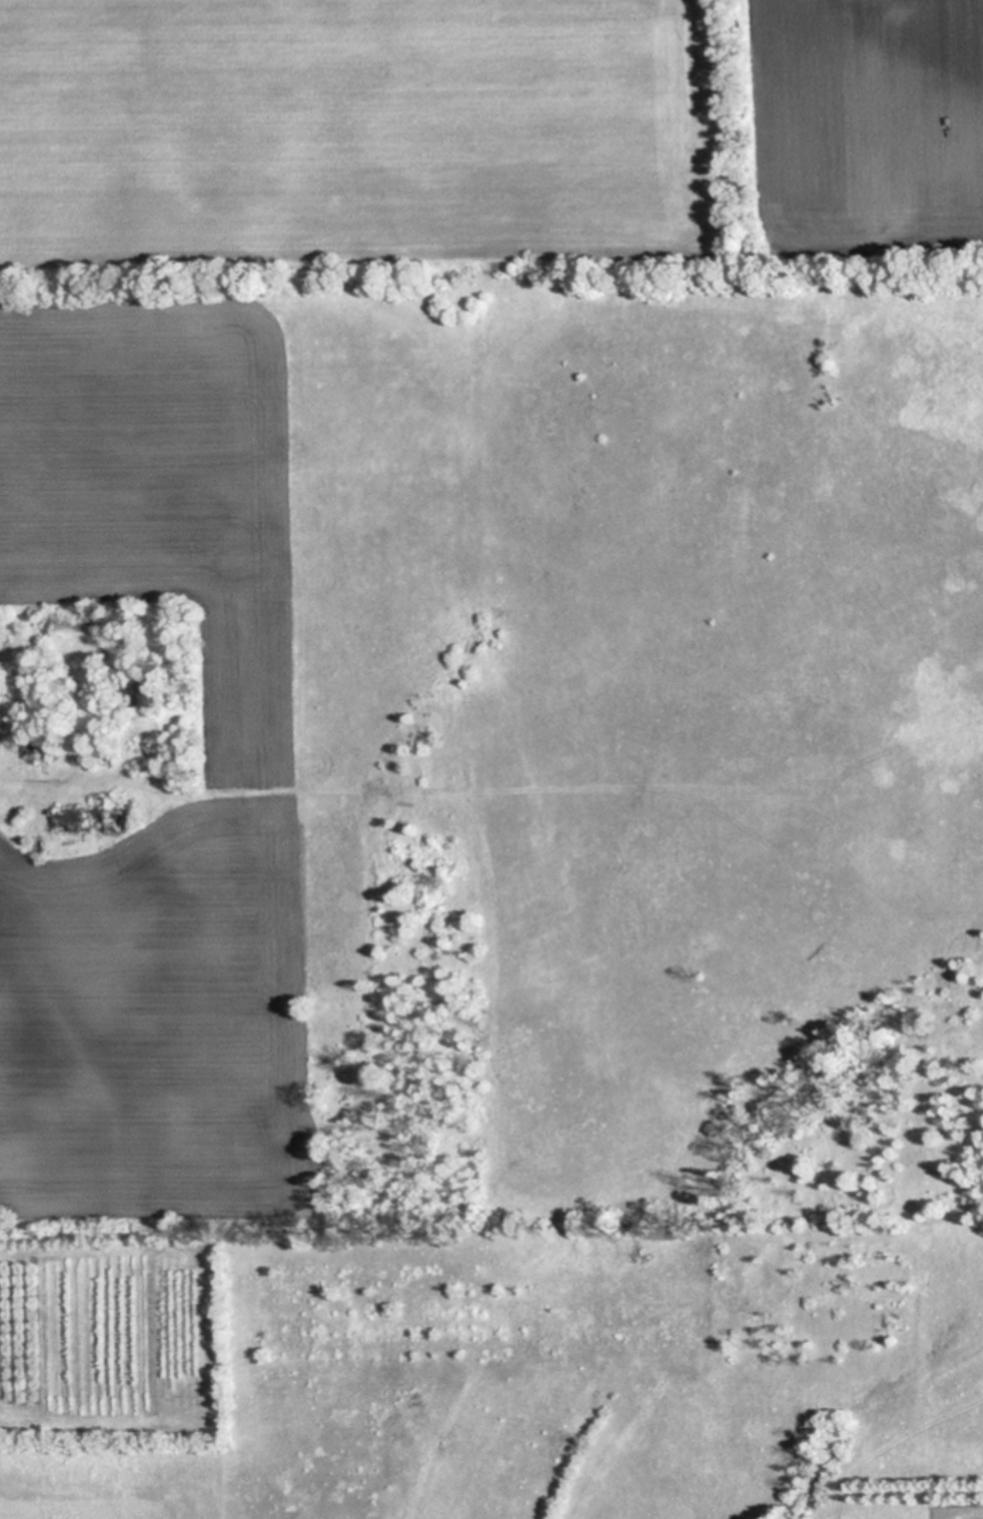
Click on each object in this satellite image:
crop: (494, 1376)

